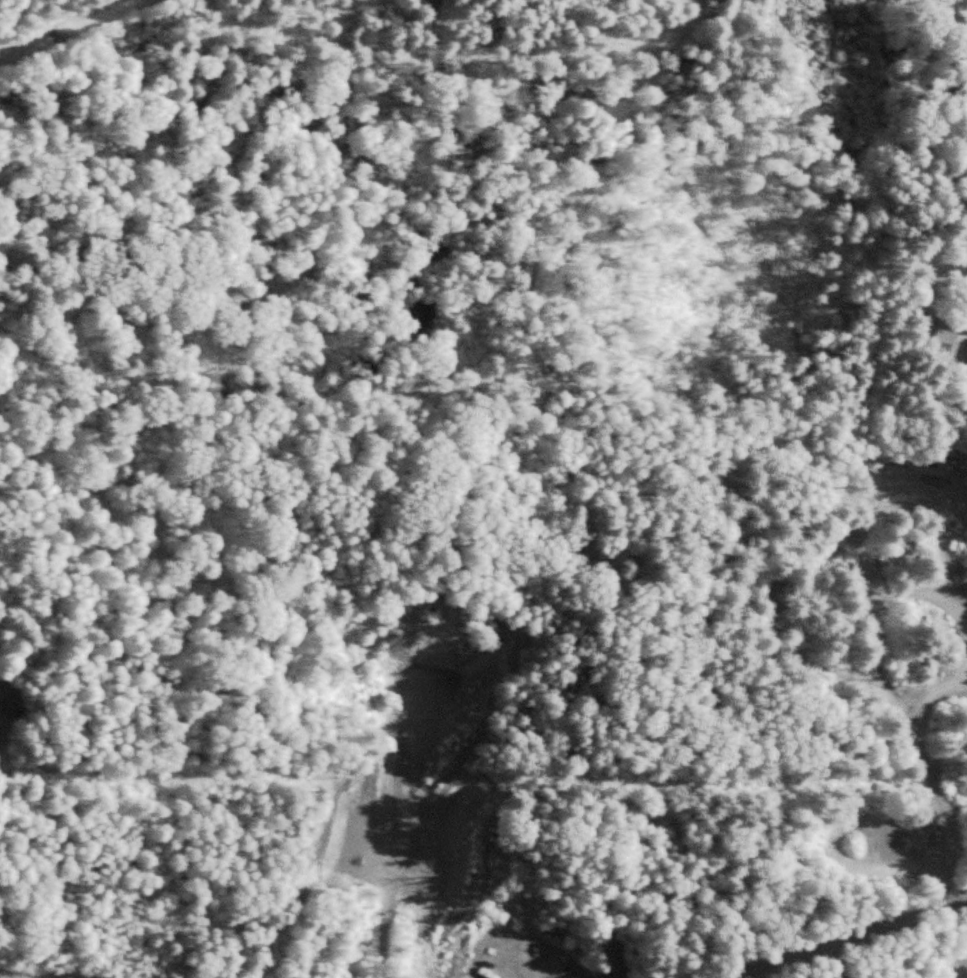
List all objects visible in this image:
building: (947, 333)
road: (842, 934)
road: (0, 977)

